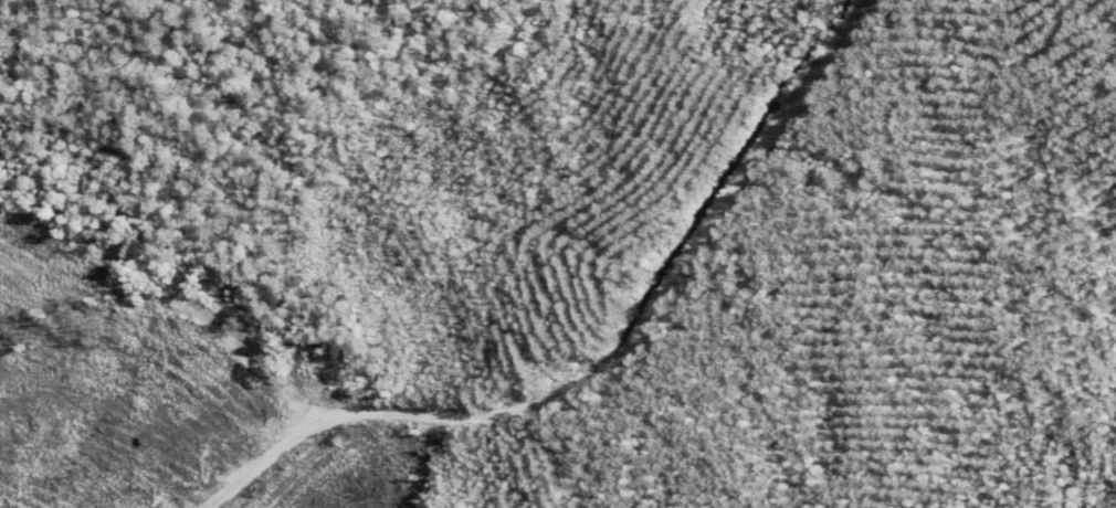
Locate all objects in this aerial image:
road: (620, 360)

